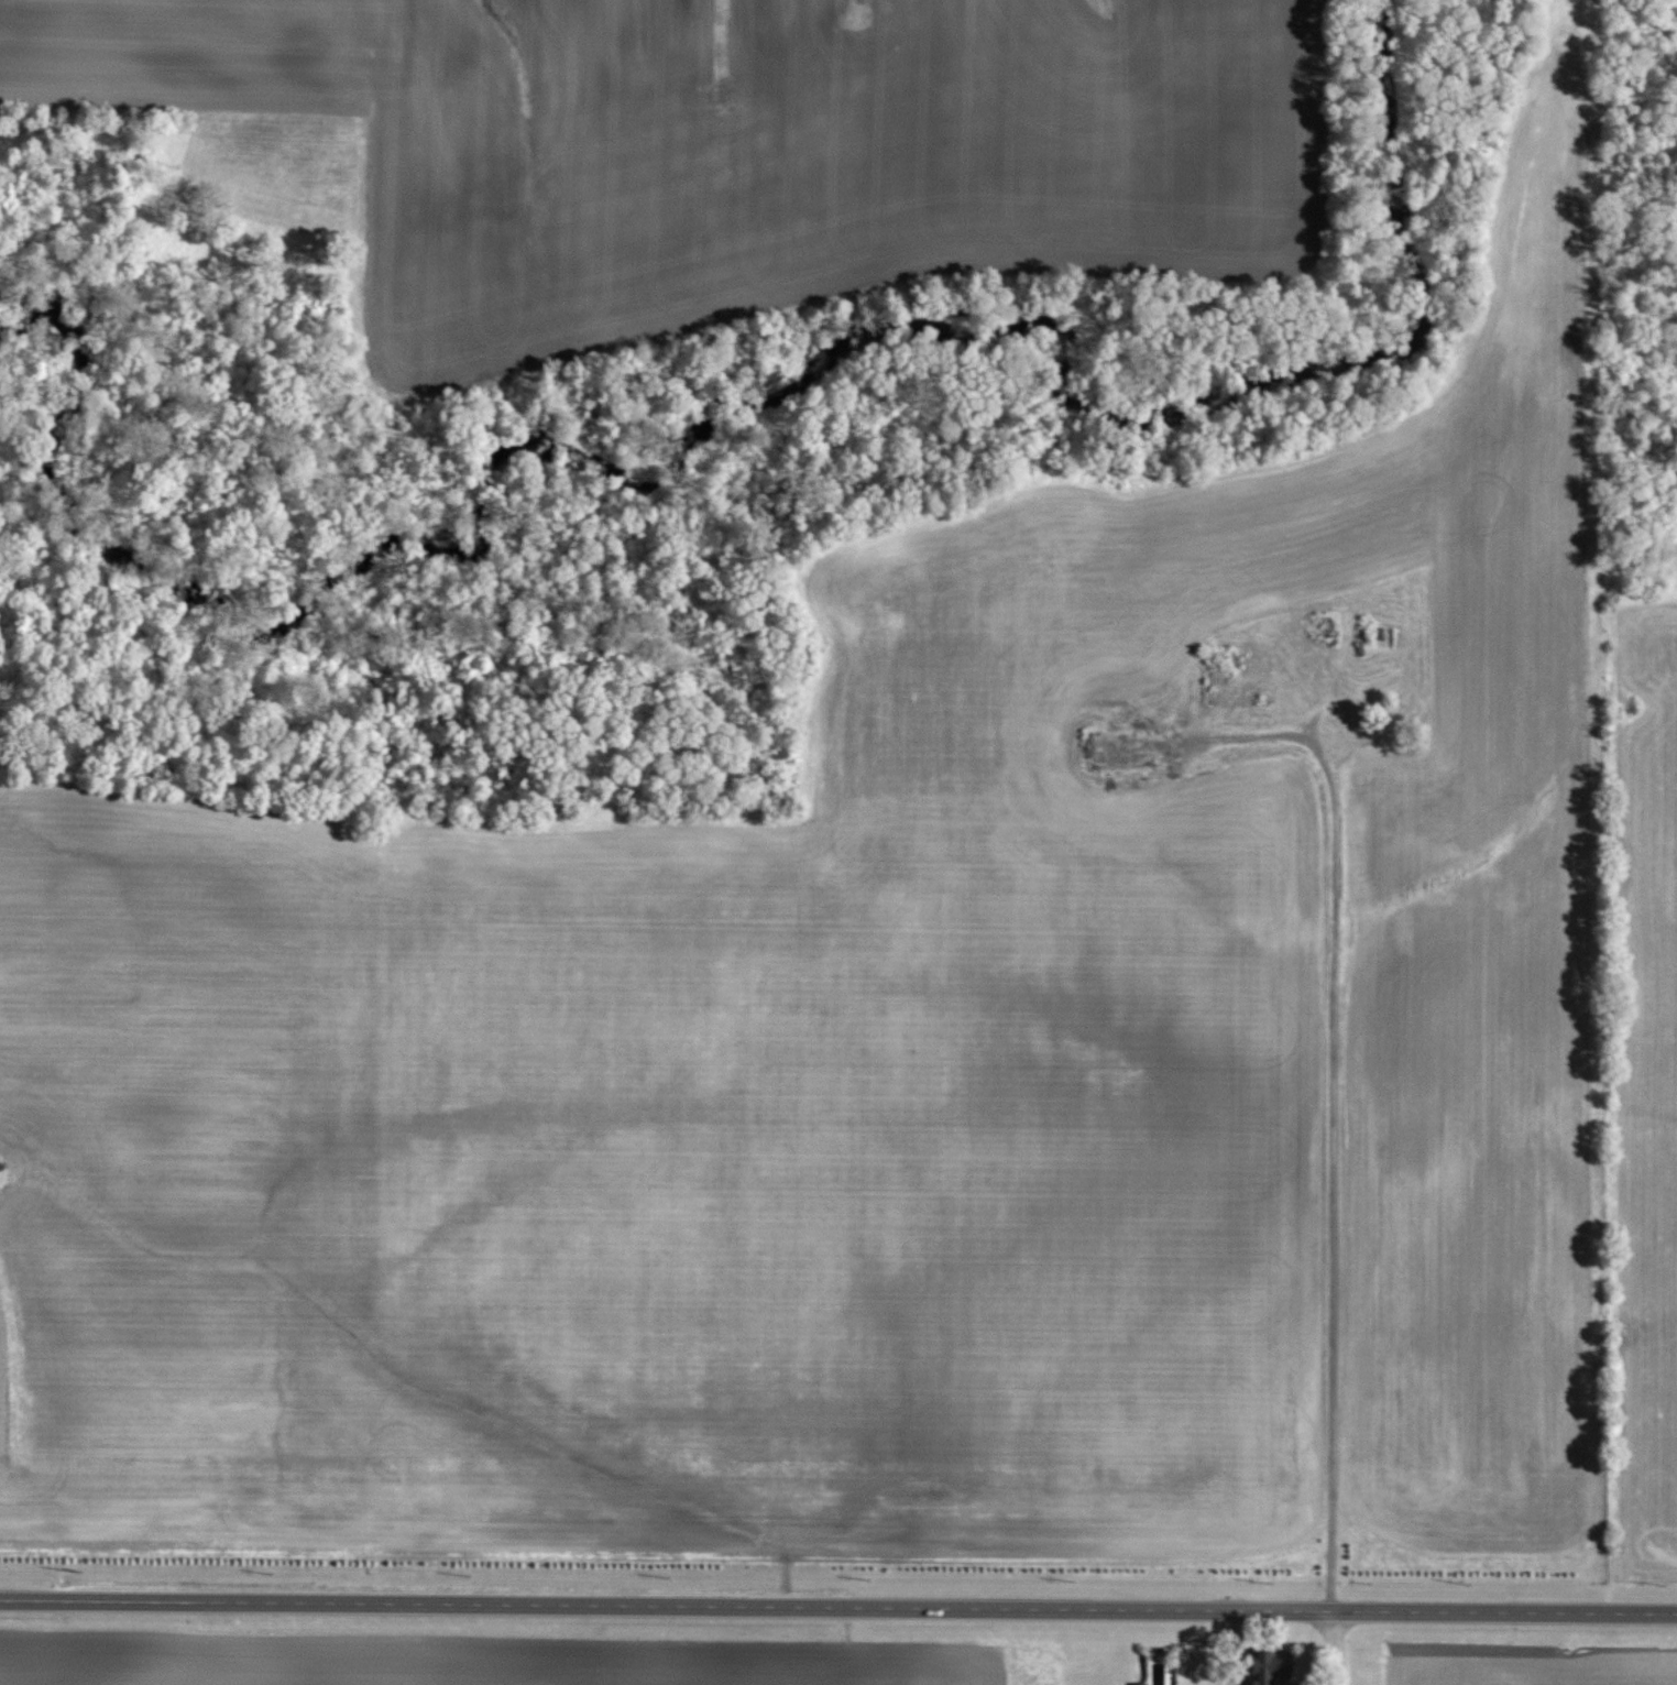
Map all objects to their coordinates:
road: (1335, 1172)
road: (837, 1608)
road: (1236, 1642)
road: (1341, 1642)
building: (1263, 1667)
road: (1237, 1678)
road: (1347, 1678)
building: (1135, 1684)

